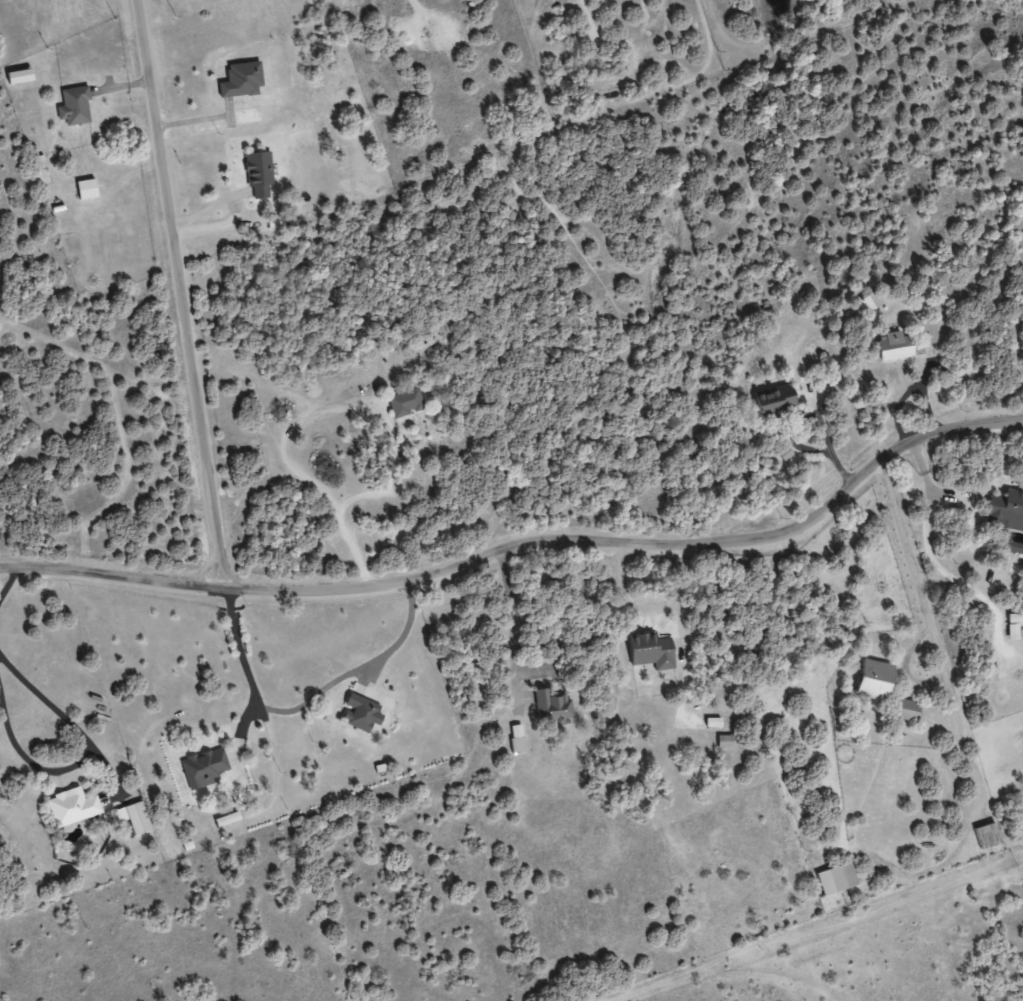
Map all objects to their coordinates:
building: (239, 80)
building: (73, 107)
building: (257, 174)
road: (184, 292)
building: (927, 332)
building: (893, 346)
building: (773, 402)
building: (404, 403)
road: (615, 417)
road: (352, 498)
building: (1005, 510)
road: (525, 535)
road: (8, 578)
building: (994, 581)
road: (917, 589)
building: (1012, 625)
building: (649, 651)
road: (244, 669)
road: (357, 669)
building: (872, 679)
building: (550, 705)
building: (903, 709)
road: (56, 711)
building: (359, 714)
building: (516, 745)
building: (203, 768)
building: (70, 806)
building: (133, 817)
building: (223, 819)
building: (986, 835)
road: (910, 870)
building: (835, 879)

